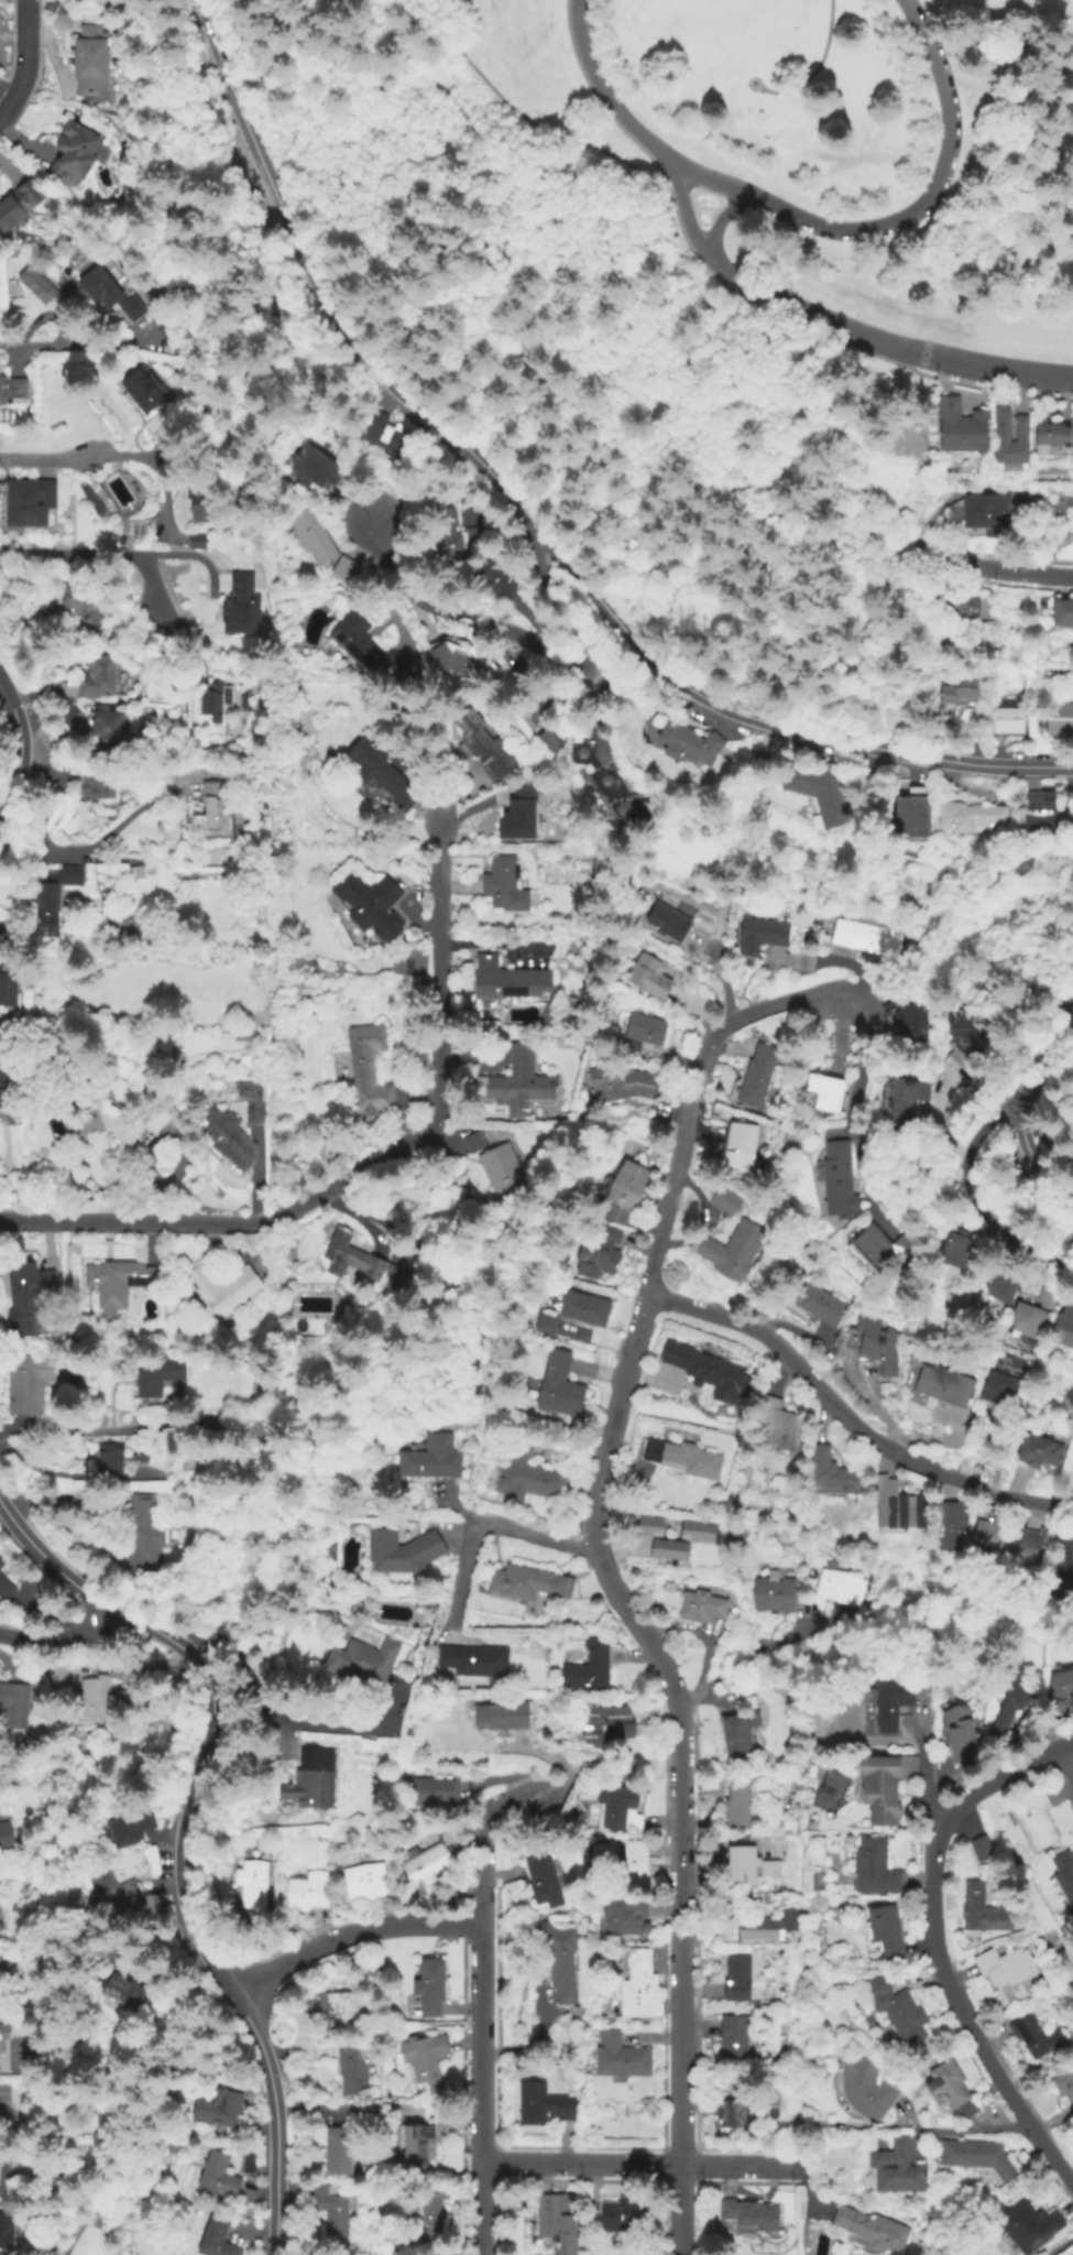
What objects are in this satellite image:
road: (25, 61)
building: (88, 61)
road: (815, 67)
road: (596, 96)
road: (606, 96)
road: (521, 117)
building: (75, 153)
road: (514, 167)
road: (671, 172)
building: (18, 205)
road: (902, 214)
road: (687, 220)
road: (713, 224)
park: (703, 277)
building: (35, 285)
building: (108, 294)
building: (165, 326)
road: (833, 338)
road: (888, 339)
road: (75, 346)
building: (13, 390)
building: (142, 394)
building: (963, 434)
building: (1048, 435)
building: (385, 436)
building: (1011, 438)
road: (110, 458)
building: (315, 468)
building: (1069, 499)
building: (26, 503)
building: (207, 506)
building: (994, 511)
road: (532, 519)
building: (451, 534)
building: (311, 537)
building: (195, 538)
road: (120, 553)
road: (989, 568)
building: (343, 570)
building: (491, 577)
road: (152, 589)
building: (79, 602)
building: (964, 603)
building: (244, 606)
building: (1064, 611)
road: (524, 621)
road: (534, 642)
building: (368, 650)
building: (464, 664)
building: (97, 677)
building: (957, 691)
building: (529, 699)
building: (213, 701)
building: (247, 701)
road: (271, 716)
building: (1059, 719)
building: (1007, 720)
building: (107, 727)
building: (547, 741)
building: (688, 744)
road: (19, 745)
building: (481, 745)
building: (379, 774)
road: (55, 776)
building: (96, 787)
building: (614, 791)
building: (822, 794)
road: (172, 798)
building: (1069, 808)
building: (1038, 810)
building: (211, 811)
building: (912, 815)
building: (968, 816)
building: (518, 817)
road: (103, 836)
building: (72, 878)
building: (503, 886)
building: (368, 906)
building: (45, 911)
building: (667, 920)
building: (760, 935)
building: (867, 936)
road: (836, 957)
road: (831, 963)
park: (406, 965)
building: (648, 978)
building: (506, 981)
building: (8, 992)
building: (1040, 995)
building: (548, 1013)
building: (909, 1020)
building: (967, 1028)
building: (640, 1033)
building: (248, 1034)
road: (841, 1035)
building: (9, 1060)
building: (366, 1075)
building: (754, 1078)
building: (516, 1082)
building: (618, 1083)
building: (824, 1093)
road: (1018, 1099)
building: (904, 1100)
building: (251, 1103)
building: (110, 1114)
road: (851, 1115)
building: (227, 1137)
road: (954, 1143)
building: (473, 1144)
road: (1051, 1150)
building: (740, 1152)
road: (365, 1165)
building: (502, 1174)
building: (836, 1183)
building: (626, 1187)
building: (724, 1201)
road: (975, 1202)
building: (1070, 1232)
building: (880, 1248)
building: (733, 1252)
building: (596, 1256)
building: (962, 1256)
building: (358, 1264)
building: (1001, 1282)
building: (118, 1285)
building: (223, 1290)
building: (25, 1296)
building: (288, 1303)
road: (645, 1303)
building: (818, 1305)
building: (582, 1310)
building: (545, 1326)
building: (1027, 1327)
building: (1063, 1329)
building: (876, 1346)
building: (709, 1375)
building: (157, 1377)
building: (25, 1384)
building: (943, 1386)
building: (558, 1388)
building: (999, 1390)
road: (850, 1417)
building: (776, 1427)
road: (88, 1430)
park: (255, 1431)
road: (888, 1436)
building: (1037, 1452)
building: (682, 1459)
building: (117, 1460)
building: (427, 1467)
building: (830, 1475)
road: (75, 1478)
building: (524, 1478)
building: (897, 1510)
road: (485, 1523)
building: (951, 1527)
building: (696, 1529)
building: (988, 1536)
building: (143, 1537)
building: (664, 1537)
building: (1027, 1547)
building: (330, 1554)
building: (402, 1554)
building: (1, 1560)
building: (1062, 1561)
road: (51, 1564)
building: (1, 1565)
building: (527, 1584)
building: (839, 1586)
building: (4, 1589)
building: (773, 1595)
building: (700, 1608)
road: (62, 1637)
road: (749, 1654)
building: (361, 1662)
building: (473, 1662)
road: (703, 1664)
building: (588, 1667)
building: (56, 1678)
building: (1059, 1691)
building: (96, 1701)
building: (888, 1702)
building: (13, 1708)
building: (1007, 1711)
building: (500, 1718)
road: (286, 1719)
building: (605, 1728)
road: (281, 1735)
building: (736, 1735)
building: (957, 1735)
road: (1071, 1751)
road: (555, 1760)
road: (923, 1773)
road: (506, 1778)
road: (199, 1779)
building: (308, 1783)
park: (825, 1786)
building: (879, 1790)
building: (433, 1793)
building: (735, 1807)
road: (491, 1809)
building: (617, 1811)
building: (1032, 1820)
building: (129, 1828)
building: (6, 1835)
building: (979, 1850)
building: (634, 1866)
building: (425, 1869)
building: (748, 1870)
building: (873, 1870)
building: (1063, 1877)
building: (541, 1882)
building: (363, 1883)
building: (251, 1886)
building: (307, 1891)
building: (28, 1892)
building: (111, 1892)
road: (480, 1893)
building: (764, 1899)
building: (151, 1903)
building: (982, 1913)
building: (624, 1920)
building: (764, 1928)
road: (463, 1932)
building: (883, 1933)
road: (349, 1935)
road: (472, 1941)
road: (934, 1944)
building: (559, 1963)
building: (1005, 1974)
road: (682, 1976)
building: (735, 1979)
building: (428, 1989)
building: (123, 1990)
building: (637, 1990)
building: (896, 2013)
building: (341, 2014)
building: (3, 2024)
building: (1033, 2038)
building: (731, 2041)
building: (421, 2058)
building: (620, 2059)
building: (352, 2069)
building: (1063, 2085)
road: (481, 2089)
building: (864, 2090)
building: (949, 2091)
road: (463, 2098)
building: (540, 2106)
building: (6, 2109)
building: (217, 2110)
road: (272, 2116)
building: (729, 2116)
road: (975, 2133)
building: (415, 2146)
building: (337, 2151)
building: (975, 2158)
building: (247, 2164)
road: (638, 2164)
building: (2, 2166)
building: (894, 2169)
building: (216, 2177)
building: (6, 2188)
road: (806, 2190)
building: (331, 2212)
building: (430, 2214)
building: (627, 2214)
building: (746, 2216)
building: (556, 2223)
building: (1027, 2226)
building: (4, 2232)
building: (869, 2232)
building: (215, 2238)
road: (1061, 2247)

